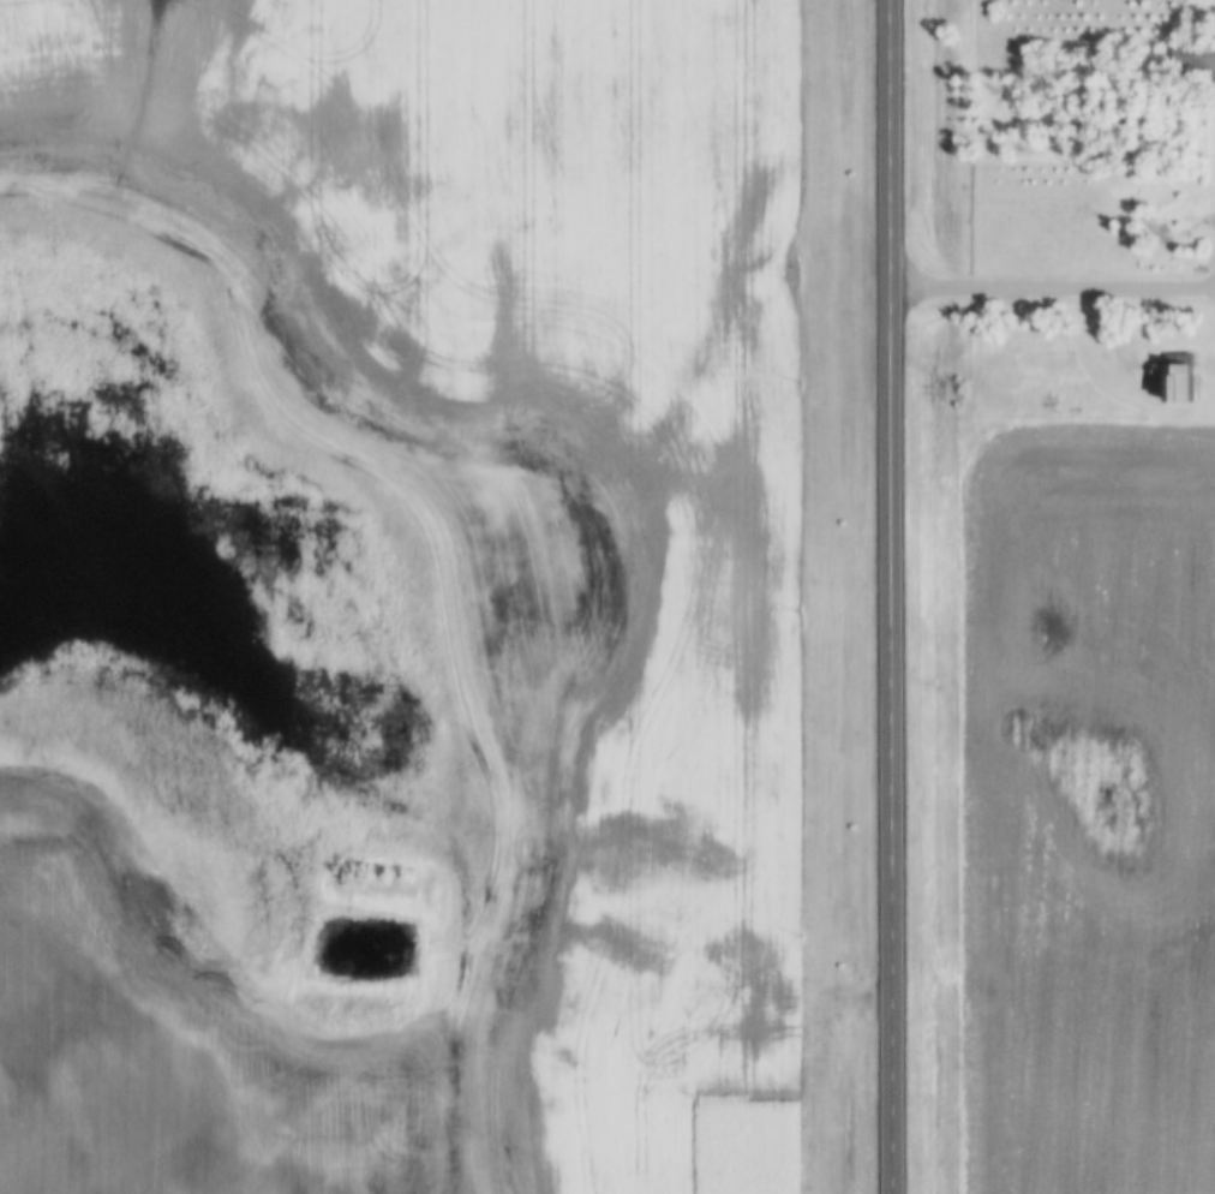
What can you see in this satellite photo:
building: (1193, 58)
building: (1177, 216)
road: (1054, 283)
building: (1177, 378)
road: (893, 596)

